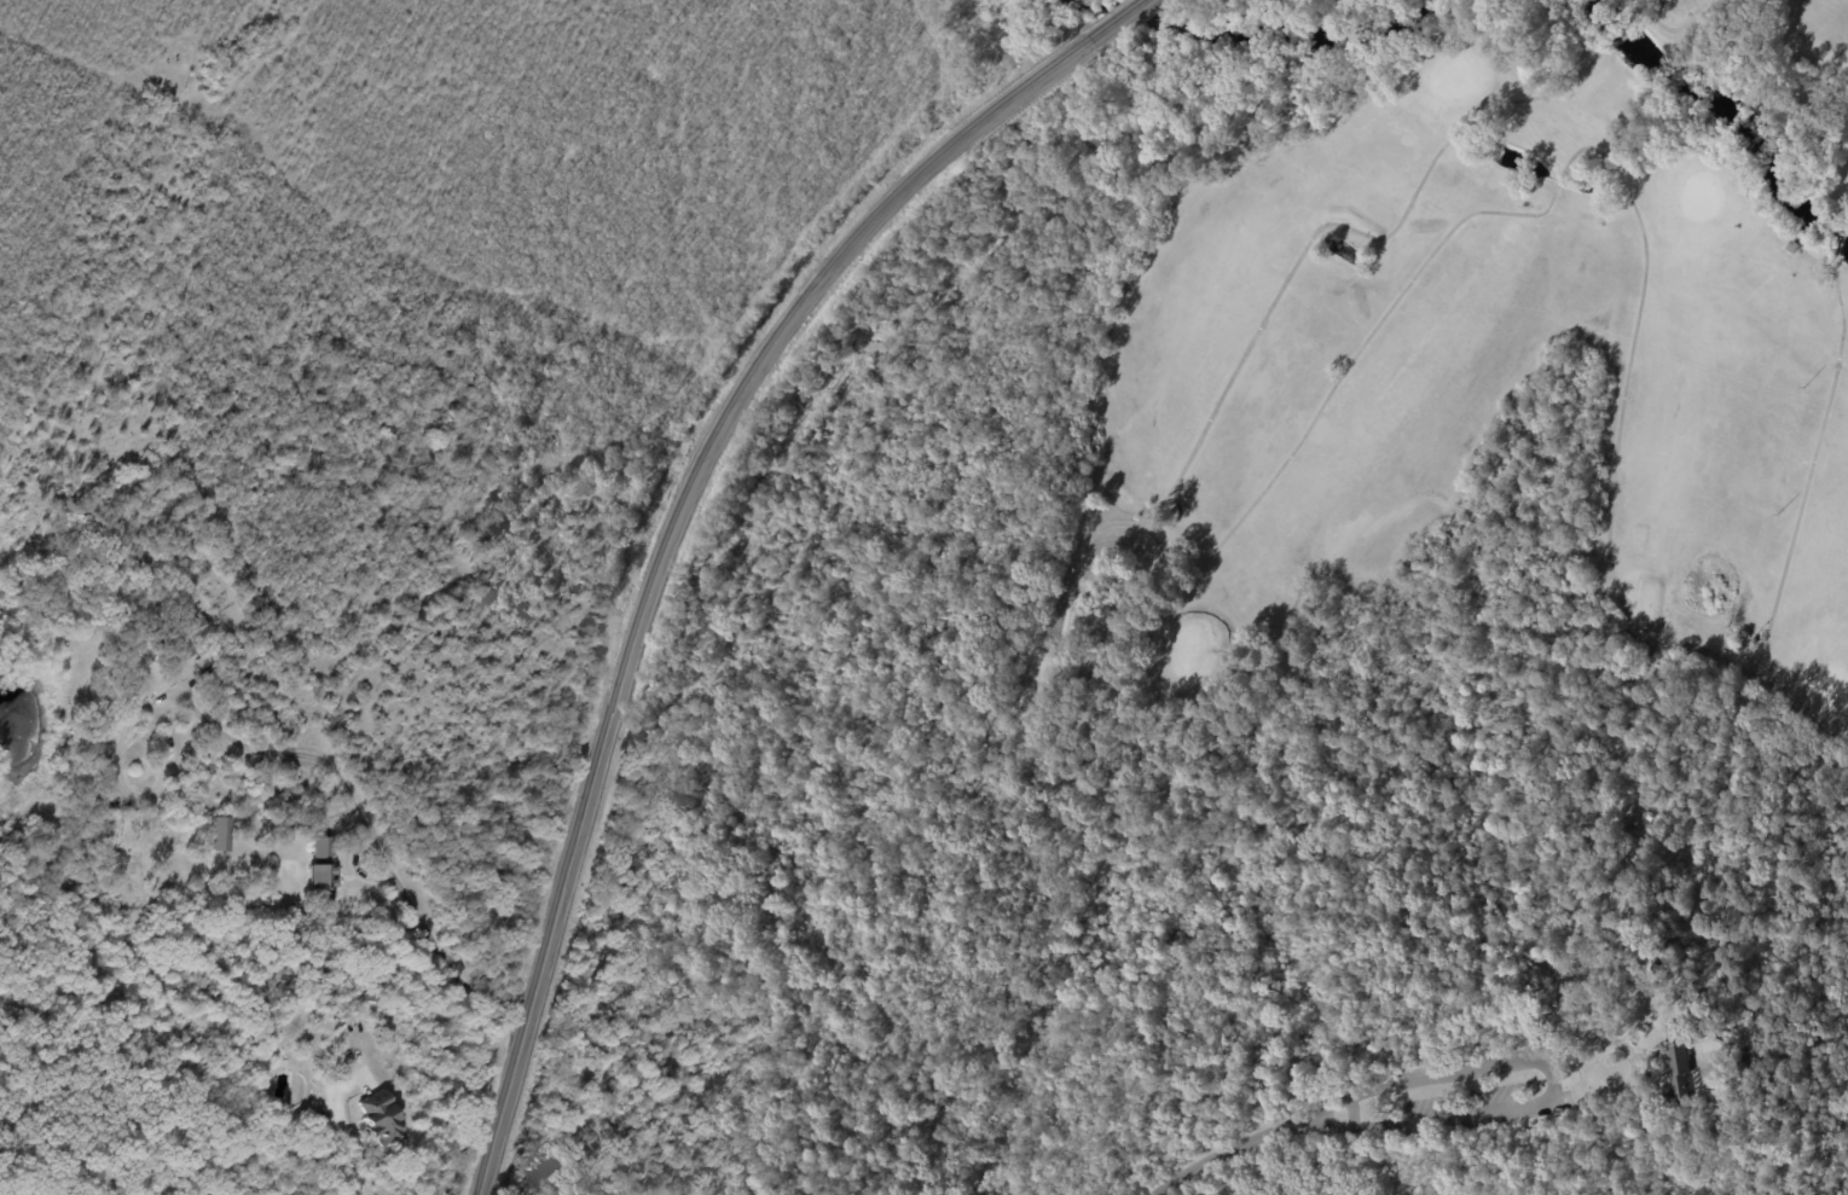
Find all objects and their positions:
road: (679, 515)
building: (195, 627)
park: (1257, 657)
road: (371, 831)
building: (220, 834)
building: (321, 868)
building: (1678, 1073)
building: (380, 1115)
road: (1337, 1118)
road: (337, 1137)

